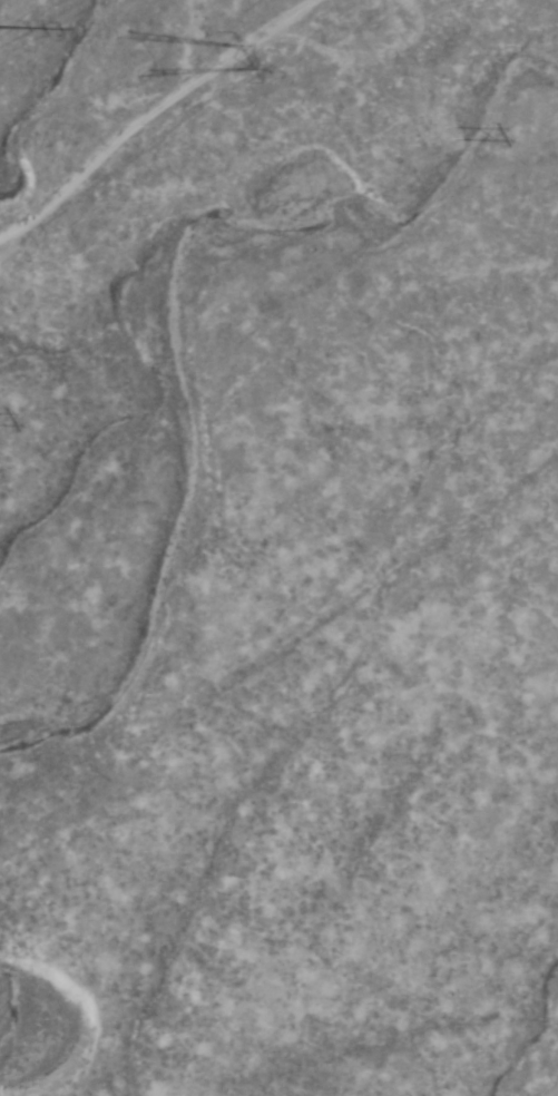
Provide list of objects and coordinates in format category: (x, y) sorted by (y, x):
power tower: (141, 52)
power tower: (458, 140)

